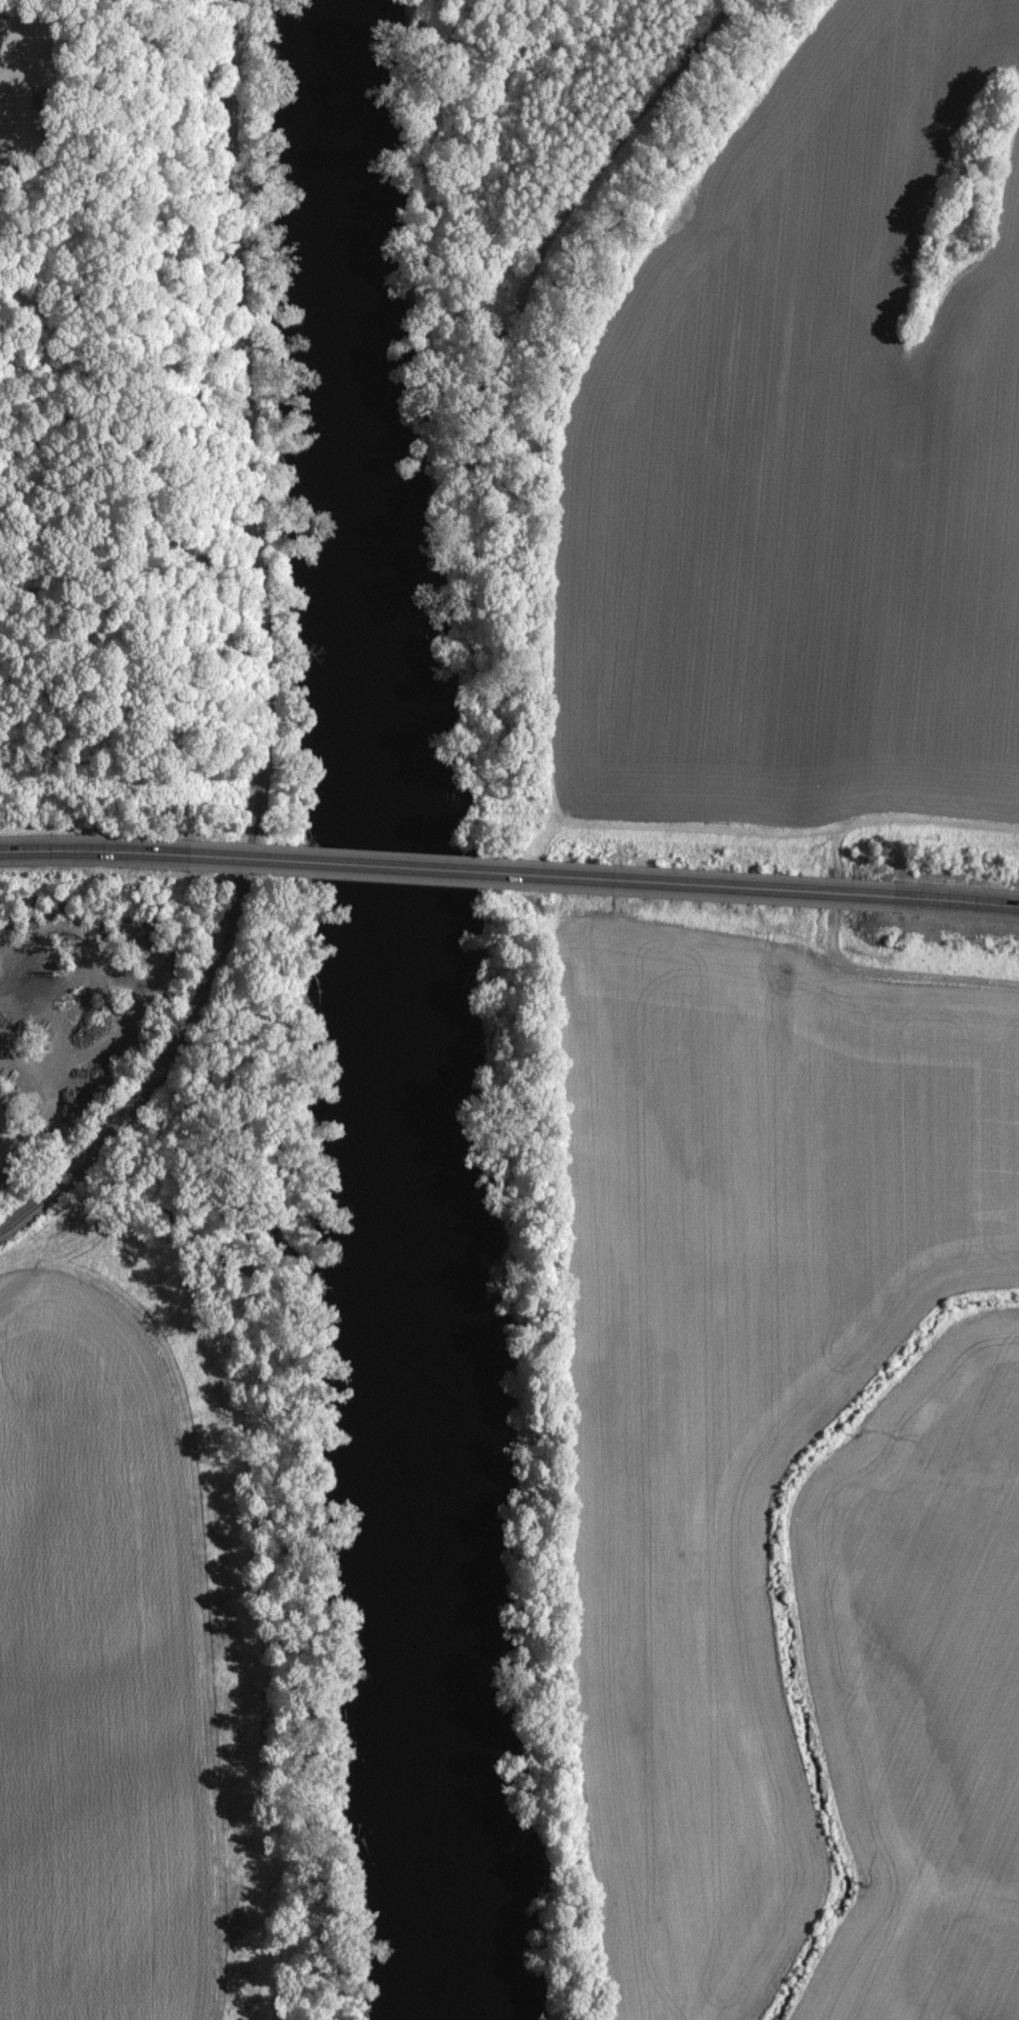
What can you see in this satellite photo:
railway: (263, 660)
road: (99, 850)
road: (533, 876)
road: (943, 902)
river: (391, 1009)

